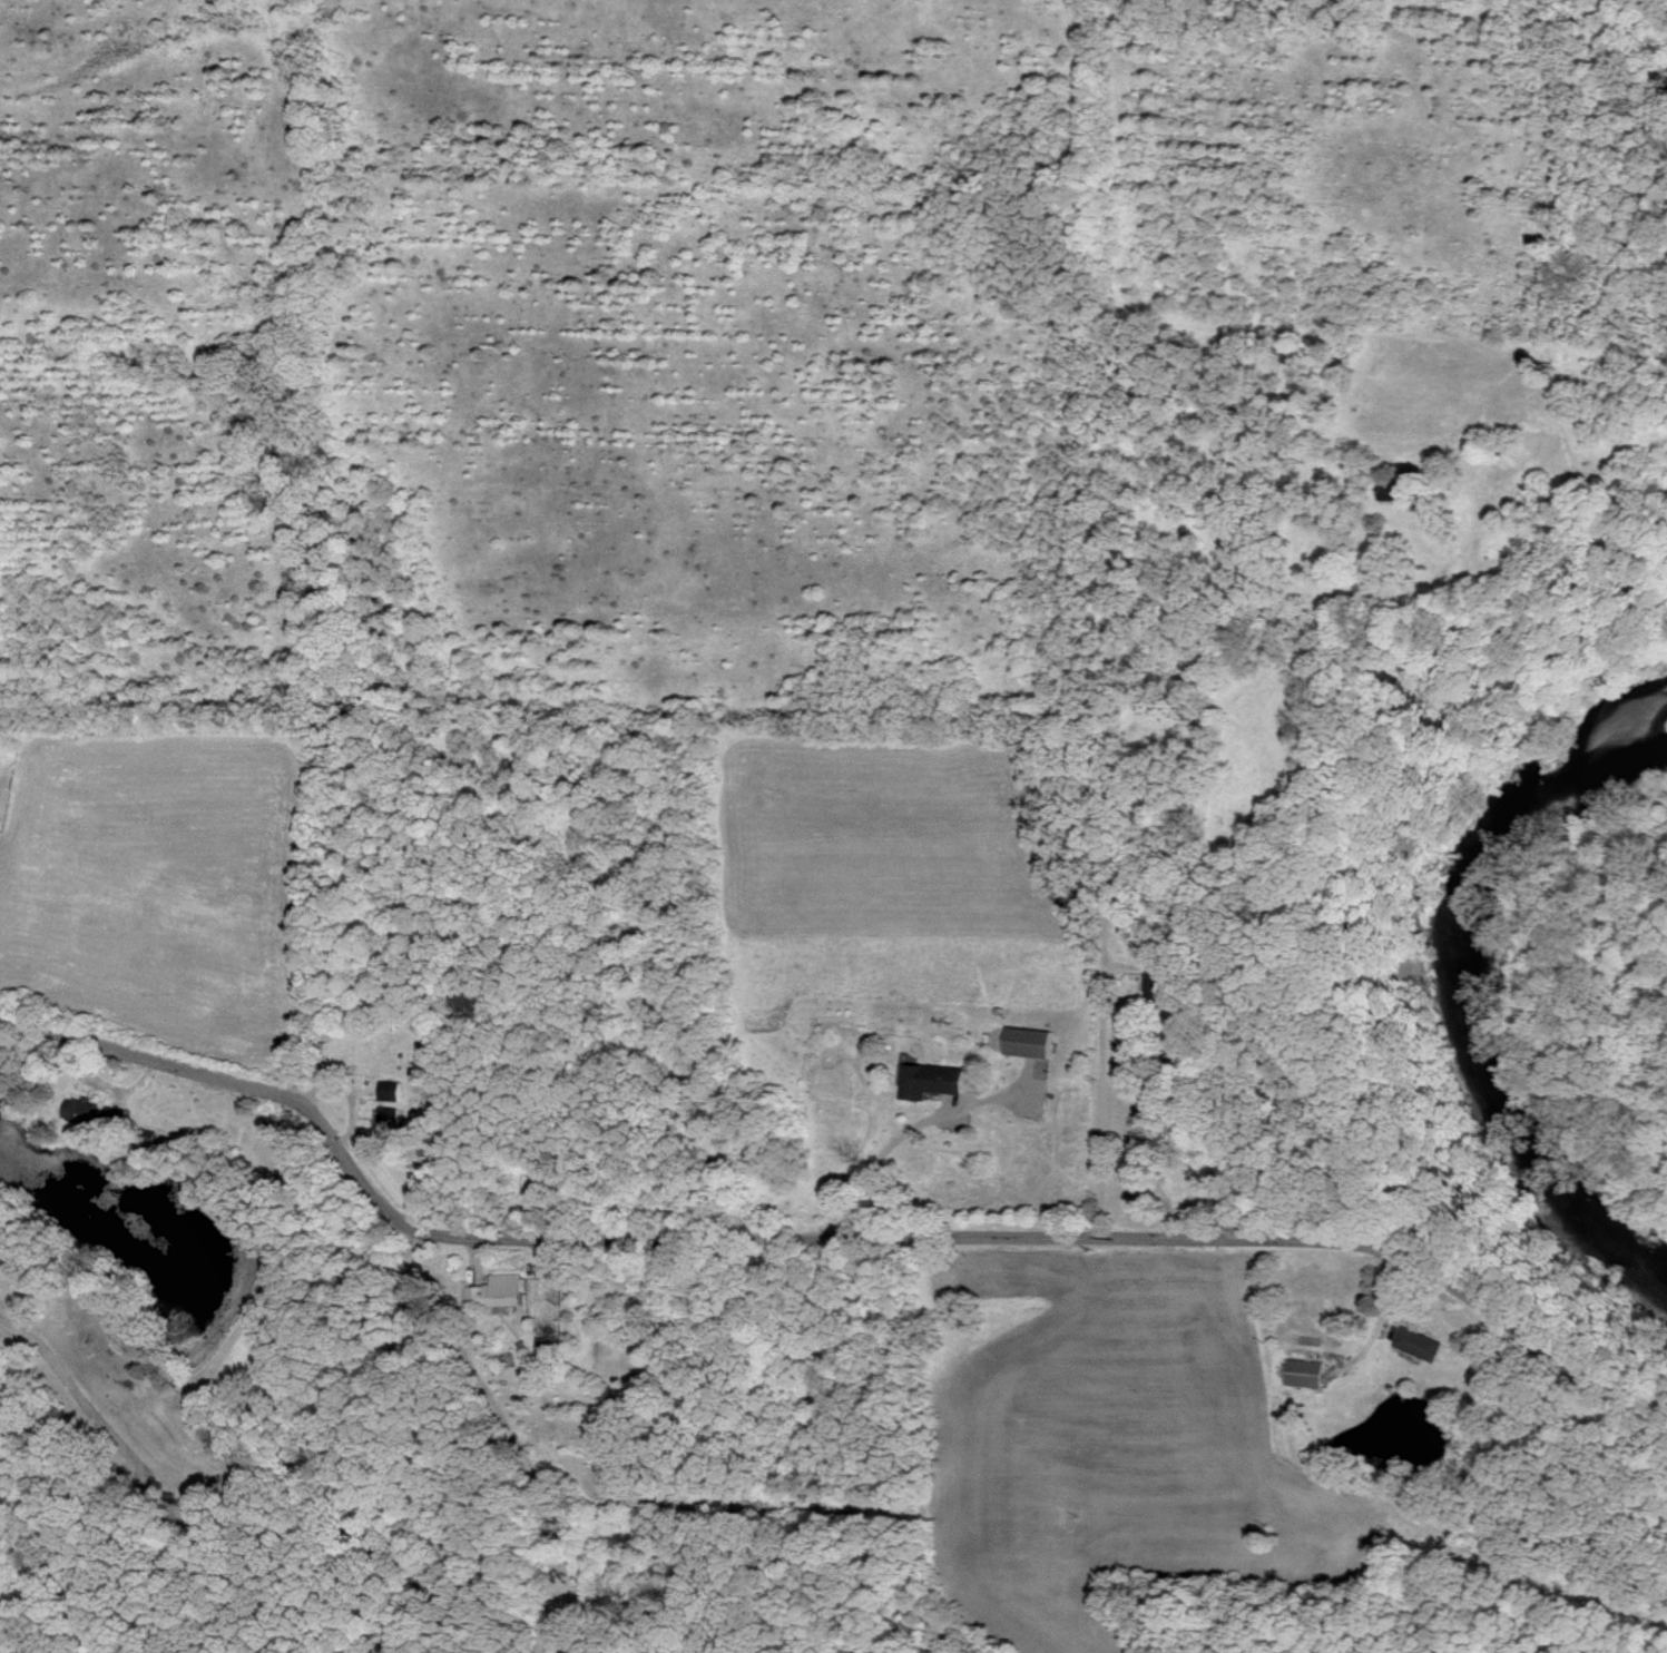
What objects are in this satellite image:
building: (1158, 985)
river: (1445, 992)
building: (1028, 1042)
building: (929, 1080)
building: (388, 1091)
road: (1098, 1109)
building: (81, 1112)
road: (886, 1130)
road: (841, 1237)
building: (496, 1291)
road: (454, 1341)
building: (1418, 1344)
building: (1303, 1372)
road: (76, 1390)
road: (547, 1518)
road: (547, 1627)
road: (559, 1627)

